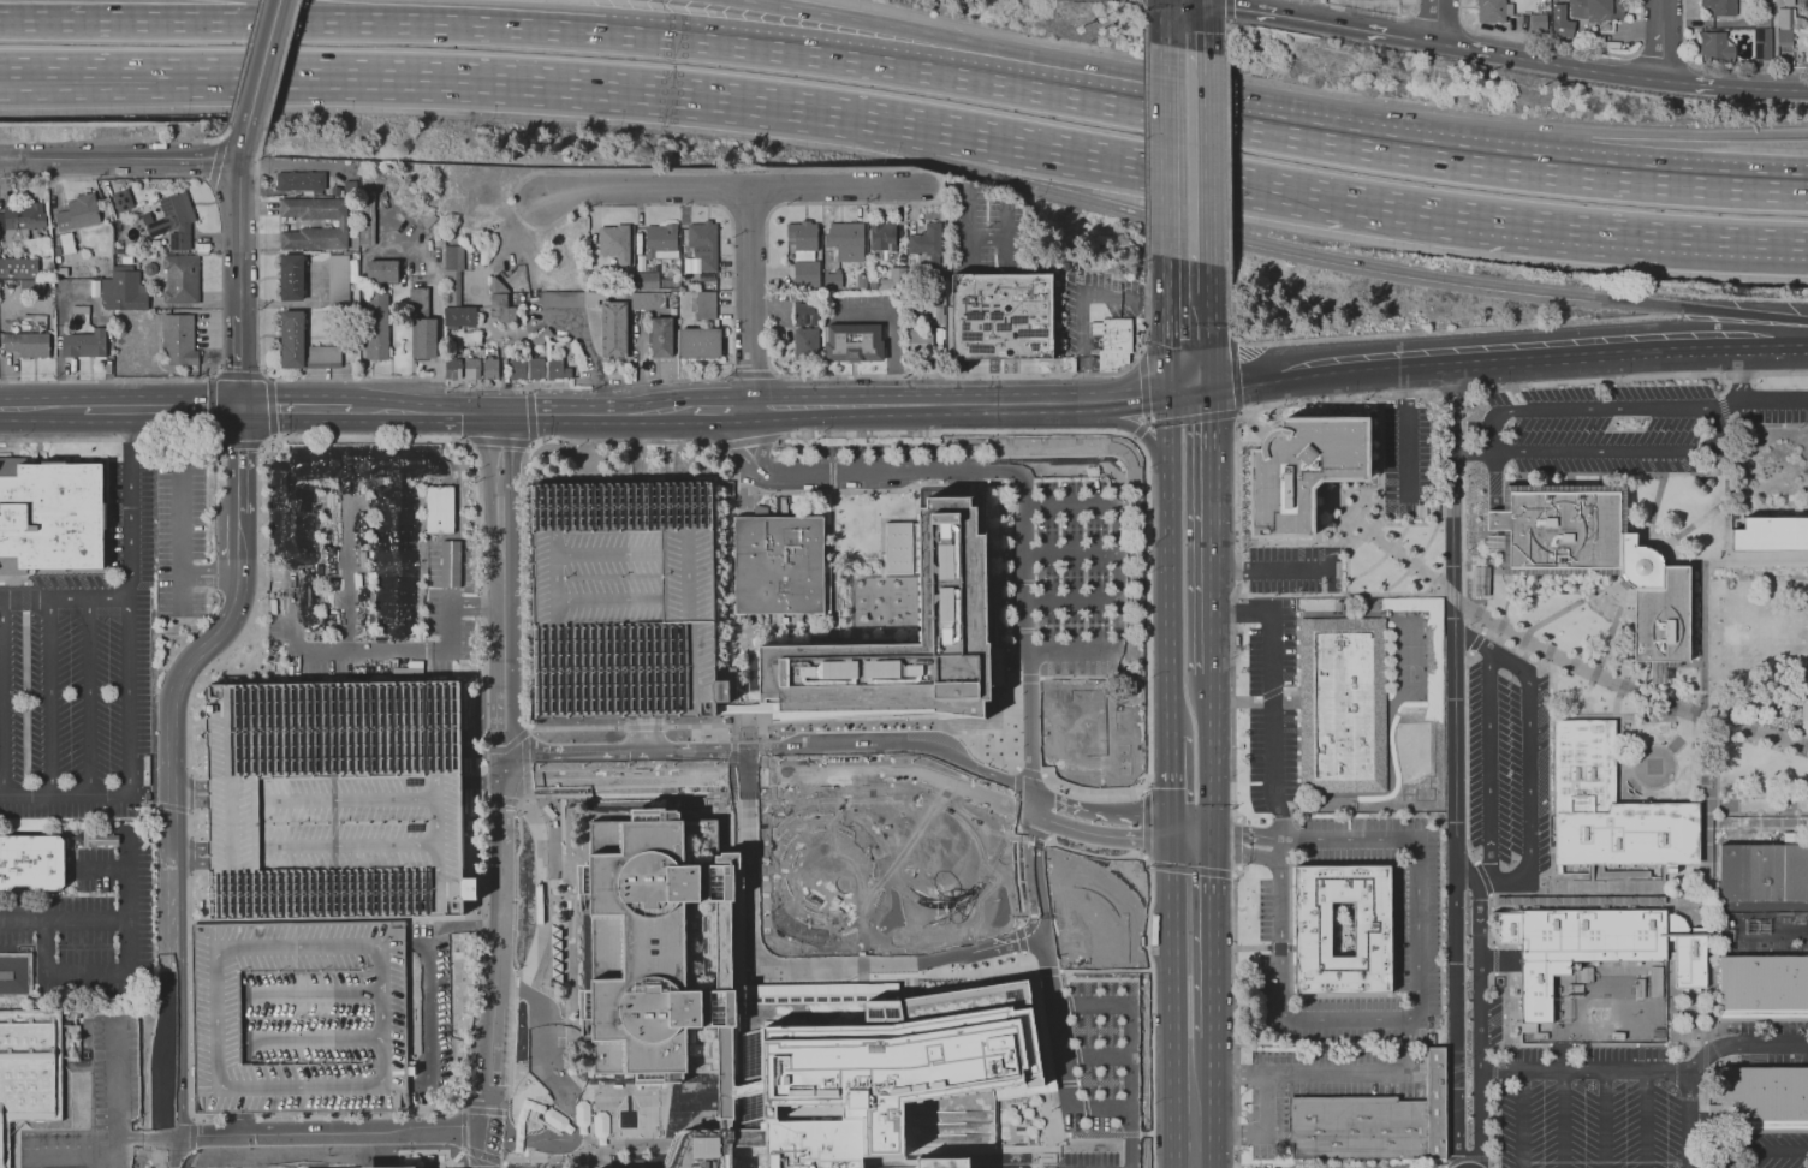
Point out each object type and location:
road: (1135, 0)
building: (1789, 2)
building: (1720, 6)
building: (1806, 7)
building: (1494, 10)
building: (1596, 10)
road: (272, 11)
road: (1363, 11)
road: (1226, 12)
road: (1437, 13)
road: (1144, 17)
building: (1785, 17)
building: (1762, 19)
road: (1435, 20)
building: (1562, 20)
road: (126, 22)
building: (1539, 22)
road: (272, 23)
road: (446, 24)
road: (1184, 24)
road: (893, 28)
road: (1225, 37)
building: (1785, 37)
road: (1661, 40)
building: (1762, 43)
road: (1563, 44)
building: (1611, 44)
building: (1717, 47)
road: (1660, 48)
road: (819, 54)
road: (1501, 54)
road: (244, 61)
road: (262, 61)
road: (279, 61)
road: (1717, 65)
road: (8, 67)
road: (8, 71)
road: (448, 72)
road: (1092, 99)
road: (1664, 136)
road: (220, 138)
road: (118, 139)
road: (243, 141)
road: (1340, 141)
road: (1144, 147)
road: (1096, 151)
road: (1185, 154)
road: (119, 160)
road: (1226, 161)
road: (215, 162)
road: (647, 171)
building: (299, 180)
road: (1669, 180)
road: (732, 186)
building: (350, 187)
building: (335, 191)
building: (121, 199)
road: (1390, 203)
building: (78, 213)
building: (23, 220)
building: (365, 220)
building: (173, 221)
road: (1552, 222)
building: (341, 224)
road: (967, 228)
parking lot: (981, 228)
building: (844, 234)
road: (1005, 234)
road: (1724, 236)
road: (986, 237)
road: (239, 238)
building: (882, 238)
building: (803, 239)
building: (660, 240)
building: (66, 243)
building: (614, 243)
building: (927, 243)
building: (703, 244)
road: (398, 248)
building: (126, 258)
road: (1331, 258)
building: (640, 262)
building: (18, 268)
building: (149, 268)
building: (382, 270)
building: (61, 272)
road: (772, 274)
building: (807, 274)
building: (291, 278)
building: (180, 279)
road: (221, 280)
building: (338, 280)
building: (454, 280)
building: (595, 280)
building: (647, 280)
building: (894, 280)
road: (1186, 280)
building: (31, 286)
building: (126, 290)
building: (106, 293)
building: (628, 294)
road: (750, 297)
building: (500, 299)
road: (1086, 299)
building: (647, 300)
building: (706, 305)
building: (81, 309)
building: (804, 314)
building: (1003, 315)
building: (109, 316)
road: (973, 316)
road: (1016, 316)
building: (34, 317)
building: (422, 324)
building: (376, 326)
building: (291, 328)
road: (1420, 332)
building: (614, 333)
road: (1232, 334)
building: (541, 335)
building: (661, 336)
road: (1515, 338)
building: (179, 340)
building: (921, 341)
building: (1113, 341)
building: (700, 342)
building: (28, 344)
building: (85, 344)
building: (807, 344)
building: (854, 344)
road: (1189, 345)
road: (1611, 353)
road: (239, 362)
building: (1067, 363)
building: (471, 368)
building: (489, 368)
building: (541, 368)
building: (453, 369)
road: (732, 371)
road: (750, 371)
road: (772, 371)
road: (1739, 371)
road: (1235, 373)
road: (1004, 375)
road: (212, 376)
road: (267, 376)
road: (1301, 376)
road: (1640, 376)
road: (239, 377)
road: (290, 380)
road: (1024, 380)
road: (975, 381)
road: (1142, 383)
road: (528, 389)
traffic signals: (1190, 391)
road: (1456, 392)
road: (1138, 397)
road: (1761, 399)
road: (268, 405)
road: (918, 406)
road: (212, 407)
road: (184, 409)
traffic signals: (240, 409)
road: (296, 409)
road: (724, 409)
road: (41, 410)
road: (106, 410)
road: (379, 410)
flagpole: (1271, 410)
road: (1586, 410)
road: (659, 411)
road: (454, 413)
traffic signals: (504, 413)
road: (563, 413)
road: (1239, 413)
flagpole: (1272, 413)
road: (531, 416)
road: (1195, 417)
flagpole: (1272, 417)
road: (1146, 422)
road: (1148, 423)
road: (1165, 424)
road: (1132, 427)
parking lot: (1632, 428)
road: (1058, 433)
road: (1137, 434)
road: (1406, 434)
road: (273, 435)
road: (169, 437)
road: (444, 437)
road: (59, 439)
road: (213, 439)
road: (465, 440)
road: (498, 440)
road: (750, 440)
road: (761, 441)
road: (531, 442)
road: (239, 445)
road: (260, 445)
road: (220, 446)
road: (667, 446)
road: (636, 447)
road: (736, 447)
road: (1622, 453)
road: (1473, 455)
road: (501, 460)
road: (371, 469)
road: (894, 471)
building: (1302, 471)
road: (129, 503)
building: (783, 506)
road: (1071, 506)
building: (438, 508)
road: (1119, 512)
building: (50, 516)
road: (1237, 517)
building: (1768, 529)
road: (1205, 530)
road: (1651, 530)
road: (523, 536)
road: (347, 537)
building: (898, 549)
road: (1071, 554)
building: (1596, 558)
road: (1715, 560)
road: (1739, 560)
road: (1023, 561)
building: (448, 562)
parking lot: (1071, 562)
parking lot: (365, 565)
building: (780, 566)
road: (1266, 568)
road: (289, 576)
building: (1479, 580)
road: (1605, 588)
building: (953, 589)
road: (64, 597)
building: (624, 600)
parking garage: (624, 600)
road: (1071, 600)
road: (502, 601)
road: (1165, 601)
road: (1455, 615)
road: (218, 636)
parking lot: (102, 642)
road: (1471, 643)
road: (363, 649)
road: (1142, 651)
road: (1073, 652)
road: (1550, 655)
road: (484, 662)
park: (1410, 662)
road: (1093, 677)
road: (1029, 678)
road: (1273, 692)
road: (47, 696)
road: (89, 696)
road: (129, 696)
road: (2, 697)
building: (1344, 704)
road: (850, 721)
road: (504, 722)
road: (1031, 722)
road: (1017, 723)
road: (644, 725)
road: (732, 732)
road: (760, 732)
road: (642, 734)
building: (1126, 734)
road: (504, 746)
road: (1213, 750)
road: (573, 752)
road: (696, 752)
road: (893, 752)
road: (472, 756)
road: (749, 764)
road: (643, 765)
road: (1144, 765)
road: (505, 767)
road: (732, 767)
parking lot: (1506, 767)
road: (1491, 769)
road: (893, 773)
road: (1030, 773)
road: (1527, 774)
building: (1088, 776)
road: (1166, 776)
road: (696, 779)
road: (573, 780)
road: (762, 782)
road: (1144, 788)
road: (65, 794)
building: (147, 795)
road: (537, 795)
road: (486, 798)
road: (891, 798)
road: (501, 799)
parking lot: (331, 801)
road: (518, 803)
road: (1030, 803)
building: (1612, 806)
road: (1098, 810)
road: (1017, 814)
traffic signals: (1167, 817)
road: (835, 818)
road: (1189, 822)
road: (1146, 823)
road: (484, 827)
traffic signals: (1212, 827)
road: (1167, 829)
road: (1245, 833)
road: (1098, 834)
road: (1211, 838)
building: (96, 839)
road: (1349, 840)
traffic signals: (1167, 841)
road: (1237, 841)
road: (1189, 845)
road: (858, 850)
traffic signals: (1211, 850)
road: (1245, 853)
road: (1144, 858)
building: (31, 863)
building: (1569, 868)
road: (773, 869)
road: (1189, 869)
road: (1233, 874)
road: (1016, 876)
building: (1762, 876)
road: (130, 877)
road: (1123, 880)
road: (1487, 886)
road: (1036, 893)
road: (923, 900)
road: (66, 920)
building: (1313, 929)
road: (991, 947)
road: (1022, 947)
building: (1599, 949)
building: (660, 951)
road: (498, 957)
road: (1148, 961)
road: (1167, 963)
road: (751, 964)
road: (1208, 964)
road: (863, 965)
road: (85, 969)
road: (1042, 971)
road: (1105, 971)
building: (16, 973)
parking lot: (1417, 975)
road: (869, 976)
road: (1066, 983)
building: (1764, 988)
road: (169, 993)
road: (1480, 1012)
road: (1235, 1013)
building: (67, 1017)
building: (299, 1017)
parking garage: (299, 1017)
road: (1458, 1017)
road: (1348, 1018)
road: (1126, 1020)
road: (565, 1021)
road: (1743, 1047)
building: (898, 1057)
road: (1078, 1065)
building: (29, 1069)
road: (1583, 1069)
parking lot: (1099, 1073)
road: (1324, 1074)
road: (115, 1080)
road: (1069, 1083)
road: (554, 1085)
road: (750, 1086)
road: (1067, 1093)
building: (1761, 1101)
parking lot: (99, 1106)
road: (462, 1107)
road: (508, 1108)
parking lot: (1589, 1108)
road: (445, 1110)
road: (169, 1119)
road: (1523, 1119)
road: (1563, 1119)
road: (1604, 1119)
road: (1646, 1119)
road: (1687, 1120)
road: (1194, 1122)
building: (1373, 1122)
road: (326, 1132)
road: (1102, 1134)
road: (1260, 1136)
road: (143, 1137)
road: (749, 1138)
road: (138, 1143)
building: (815, 1144)
building: (713, 1146)
road: (523, 1148)
road: (105, 1150)
road: (162, 1150)
road: (484, 1150)
road: (429, 1151)
road: (1761, 1152)
road: (59, 1155)
parking lot: (1776, 1155)
road: (456, 1156)
building: (944, 1162)
road: (1237, 1166)
building: (389, 1167)

